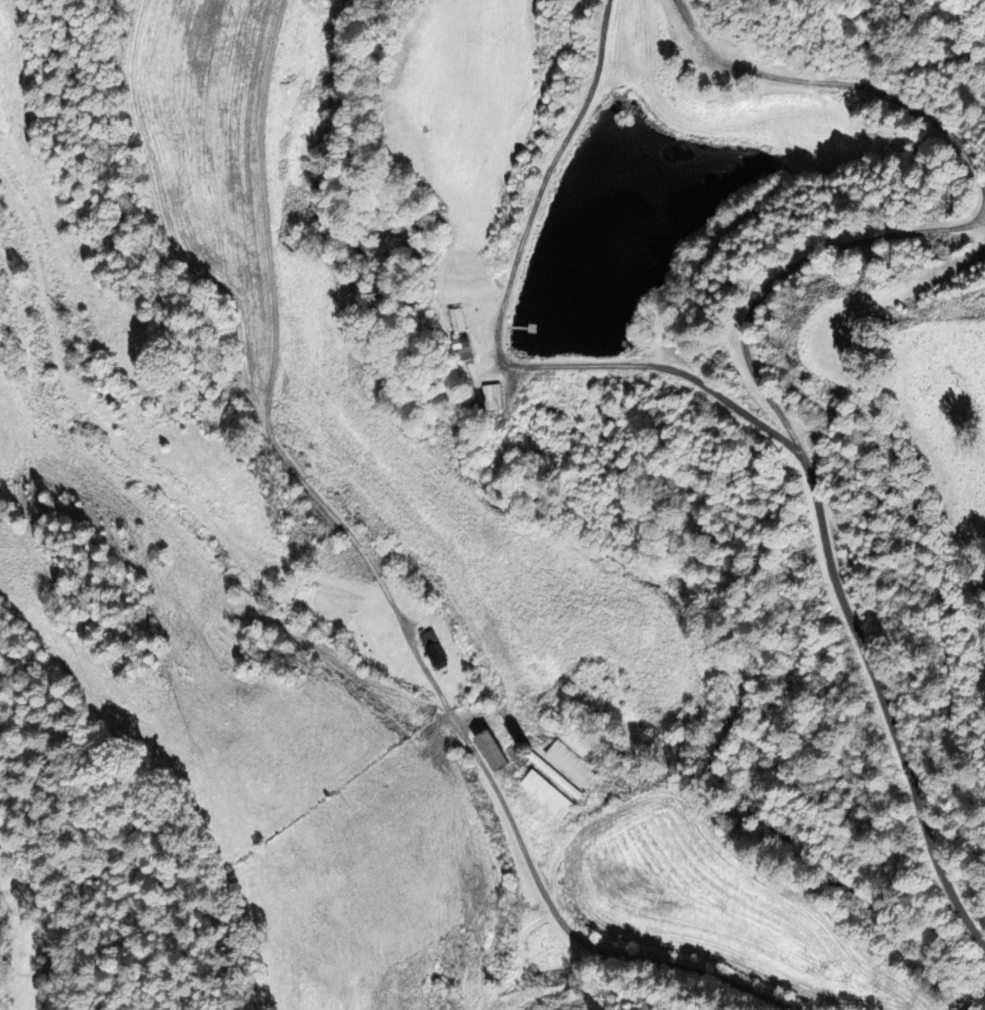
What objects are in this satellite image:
road: (843, 86)
road: (513, 311)
building: (458, 320)
building: (465, 347)
road: (816, 501)
road: (385, 587)
building: (434, 648)
building: (495, 751)
building: (572, 764)
building: (546, 794)

